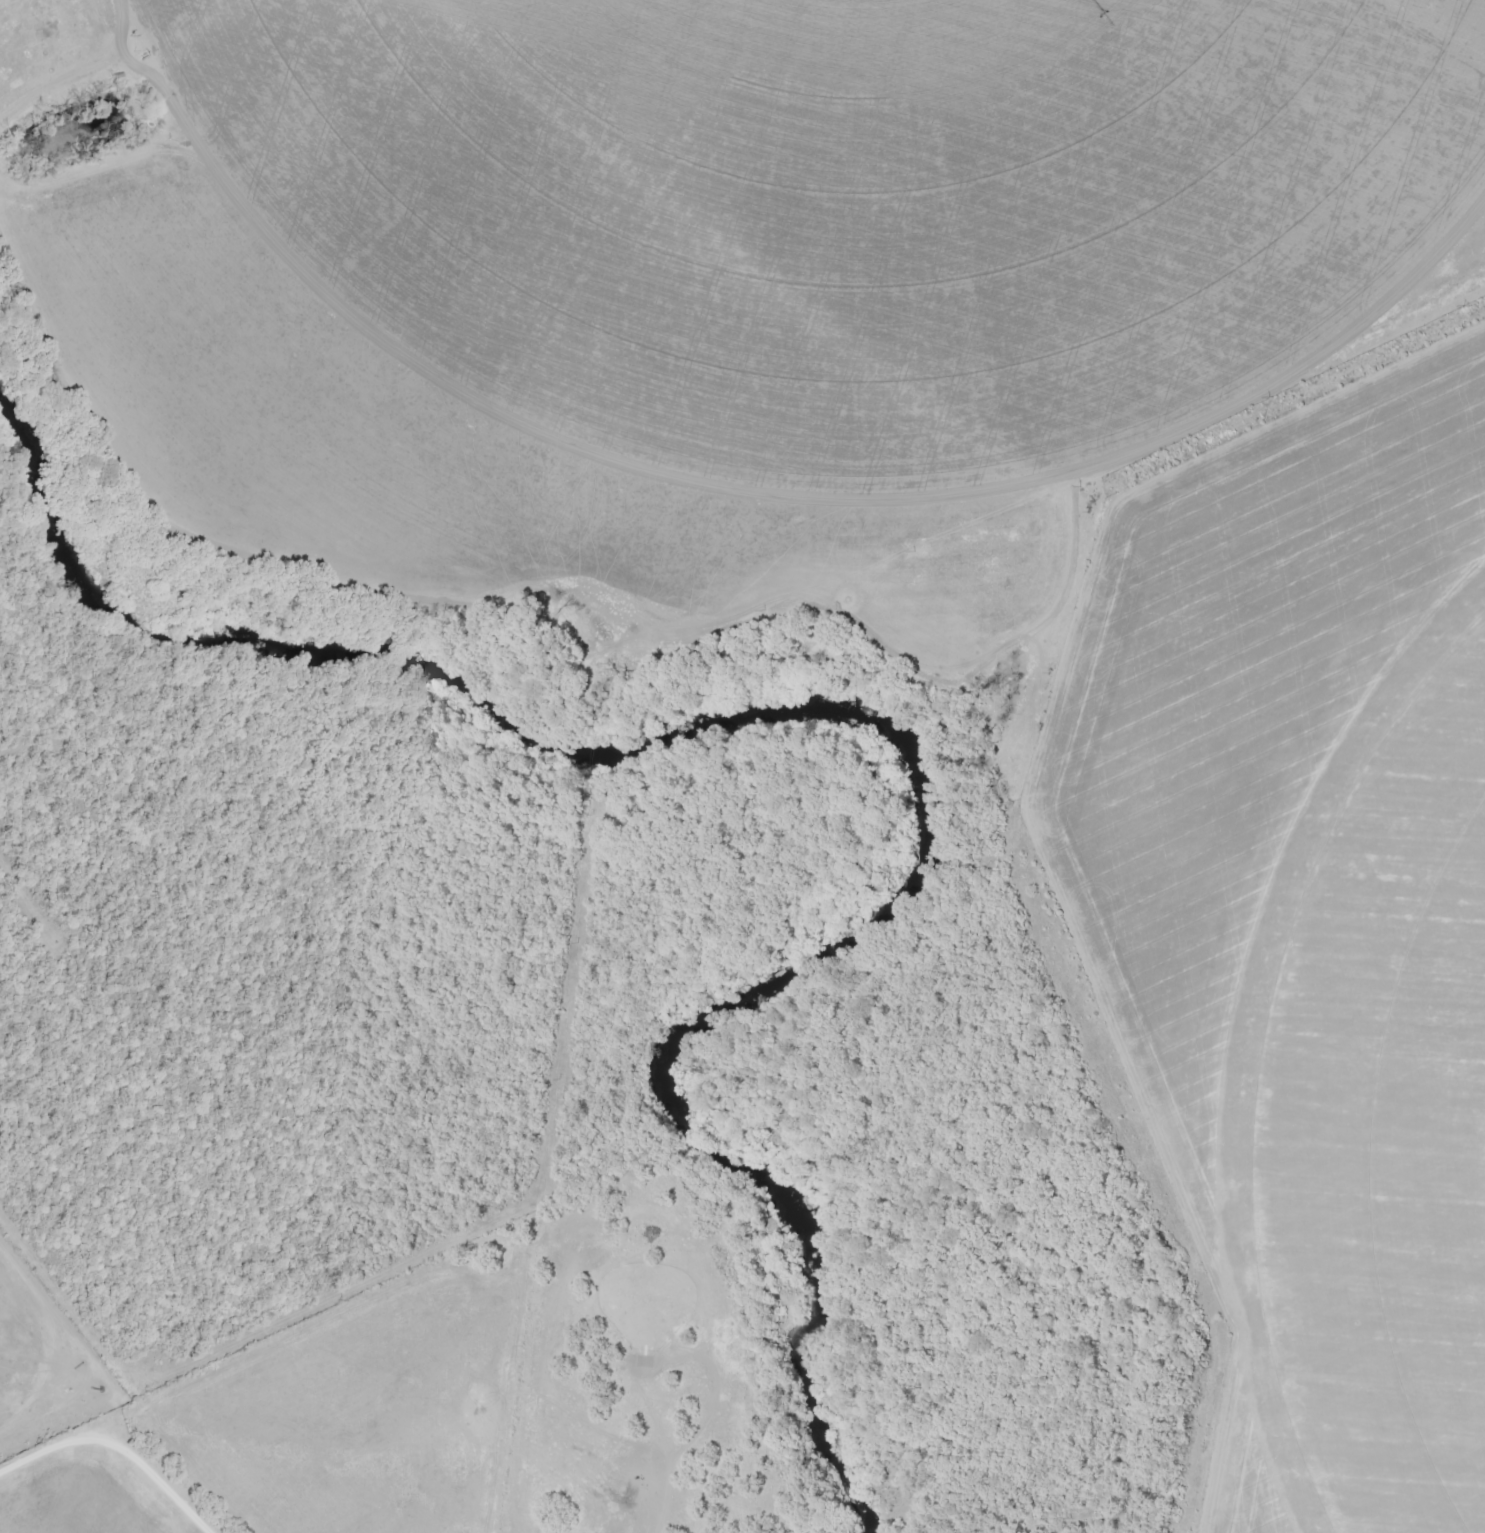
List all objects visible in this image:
river: (910, 744)
road: (122, 1443)

